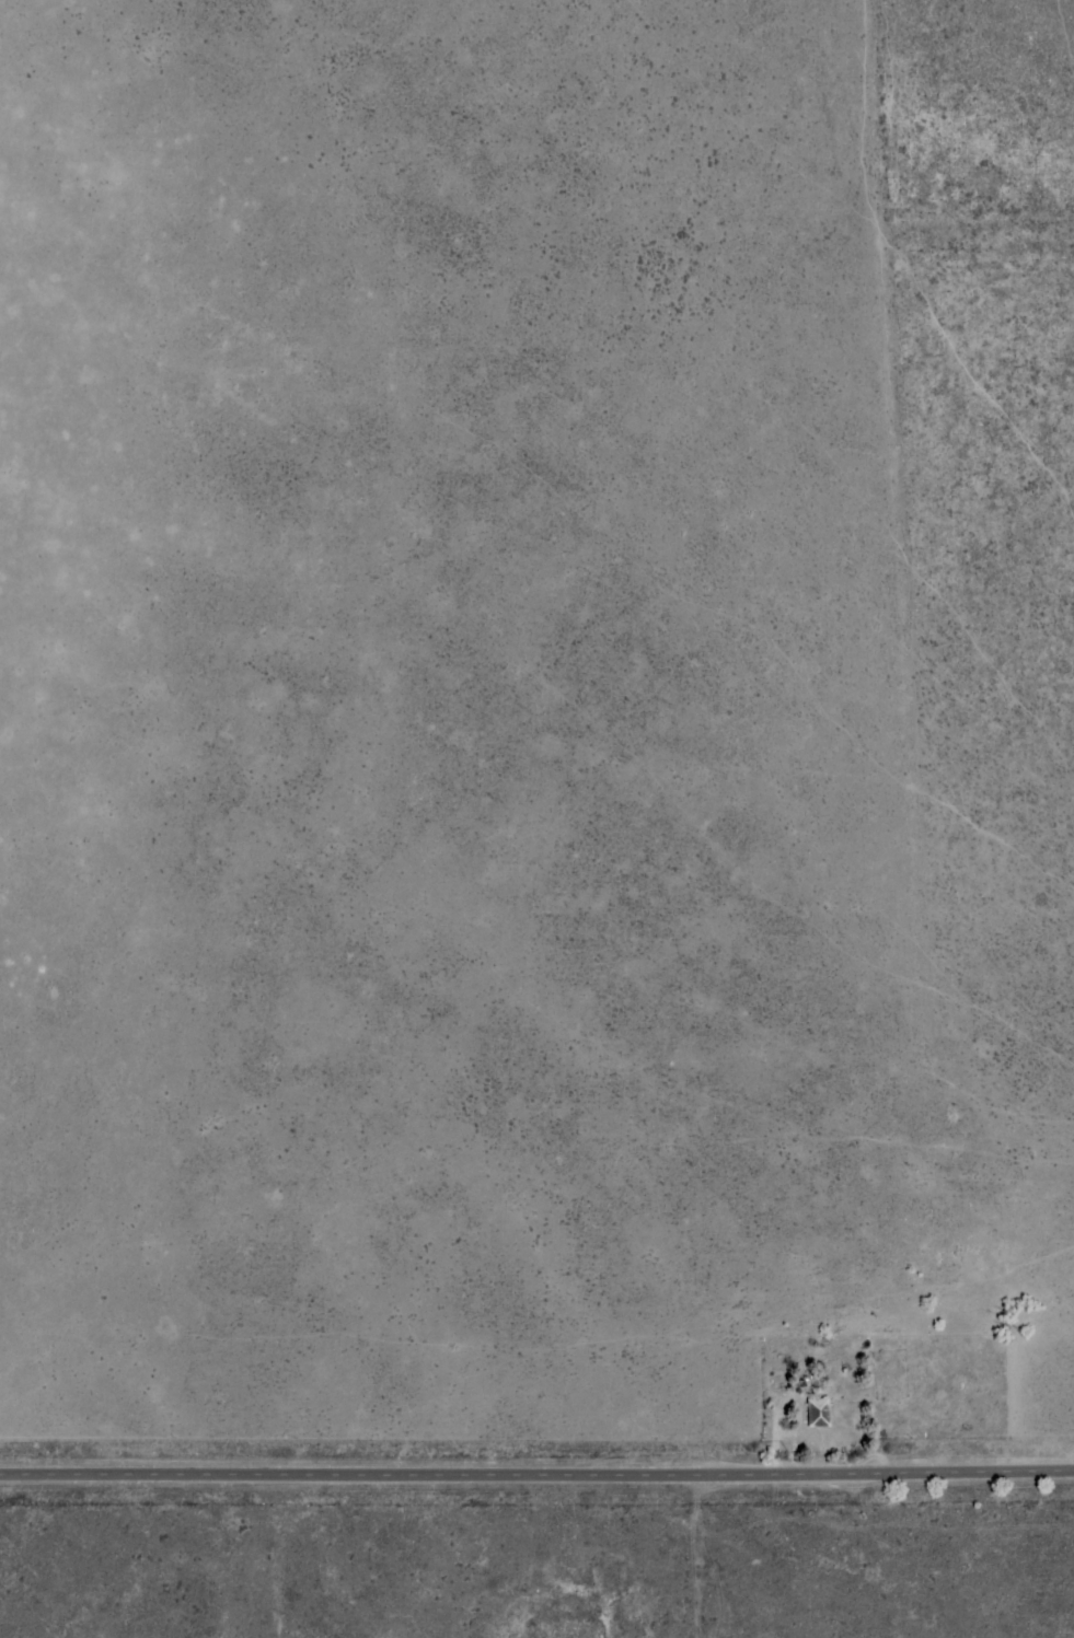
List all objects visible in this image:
building: (818, 1410)
road: (536, 1476)

